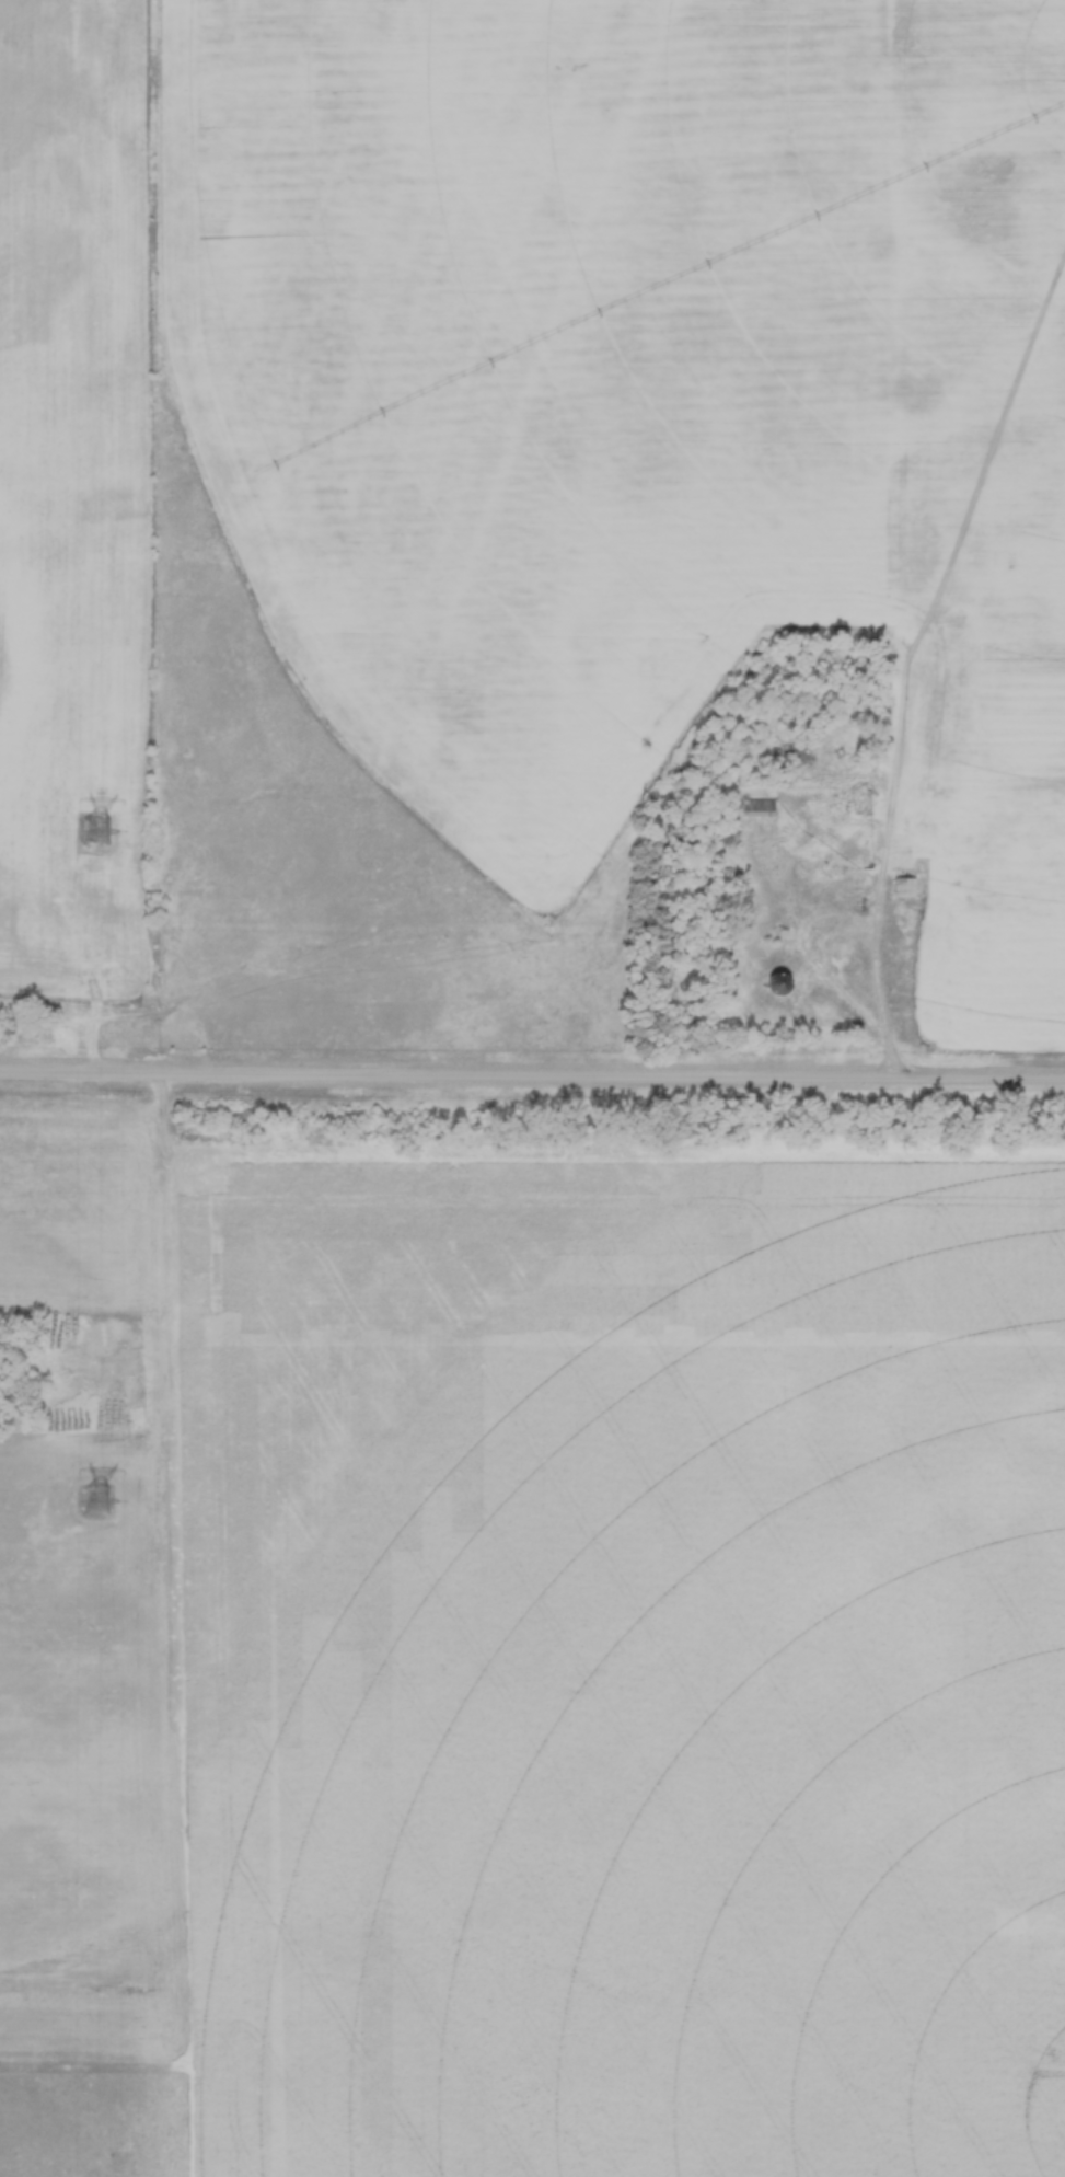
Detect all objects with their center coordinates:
building: (764, 809)
power tower: (100, 833)
building: (910, 889)
road: (881, 923)
road: (532, 1081)
power tower: (99, 1500)

